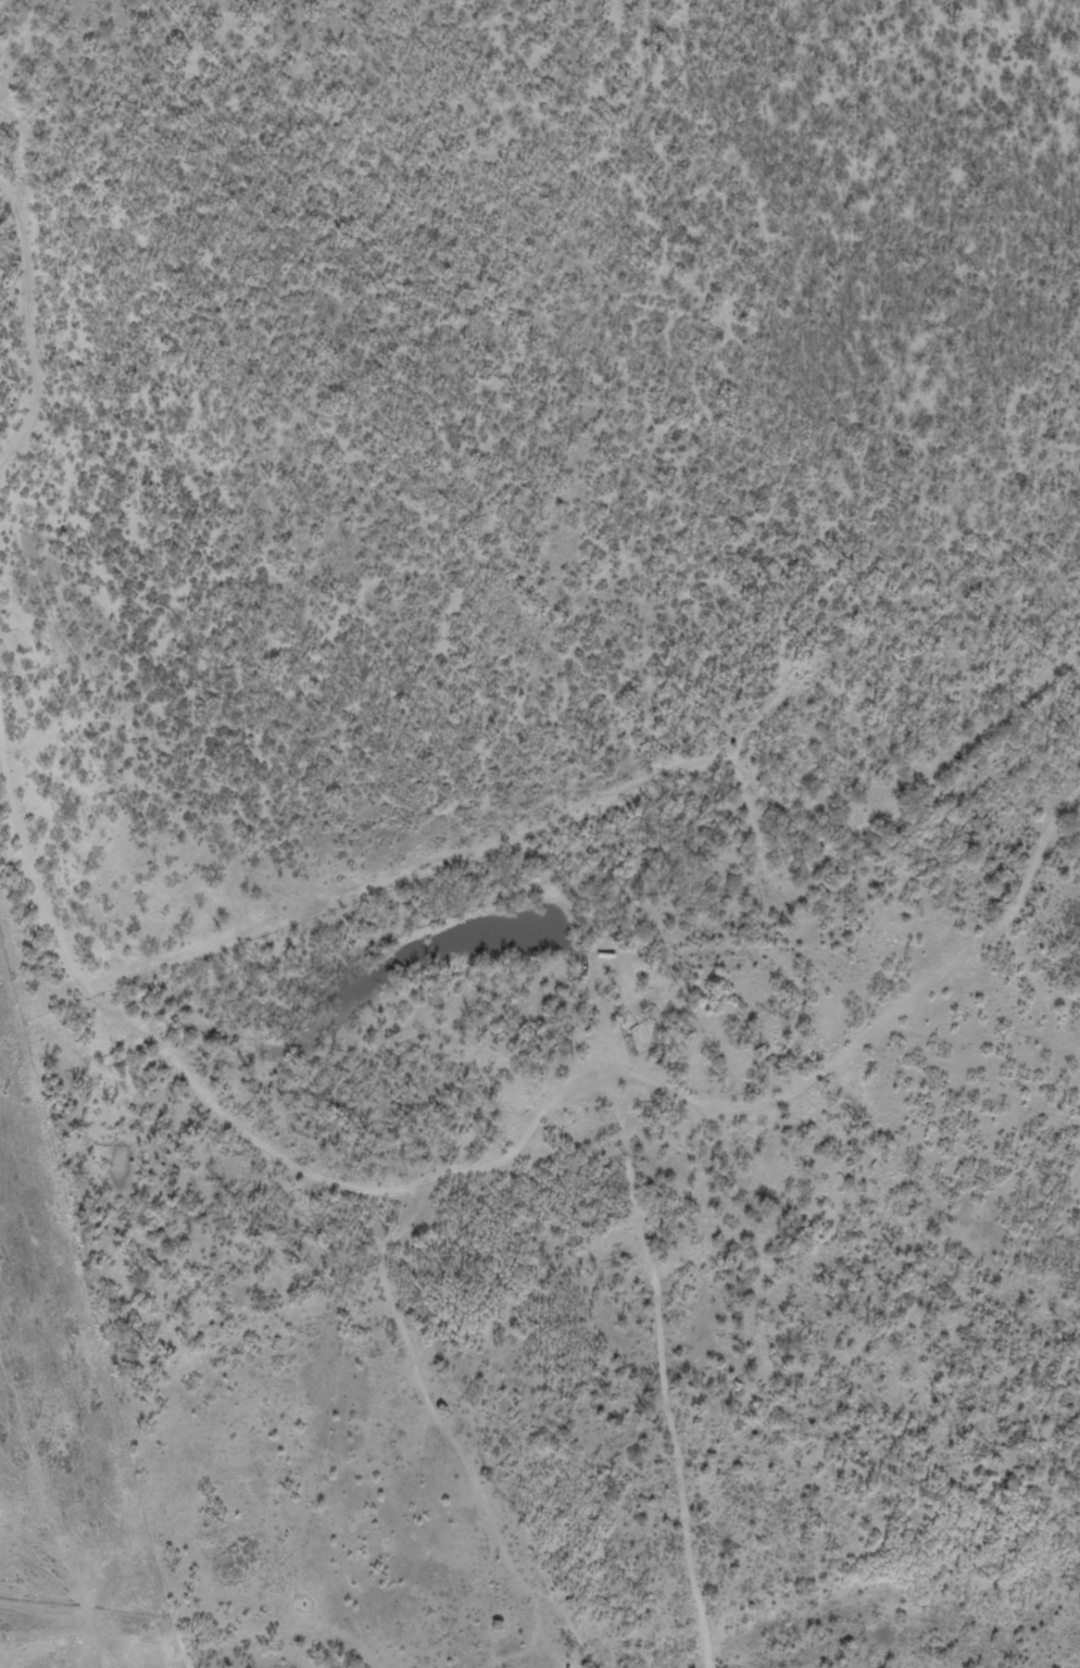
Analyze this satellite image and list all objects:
road: (472, 356)
road: (325, 1246)

